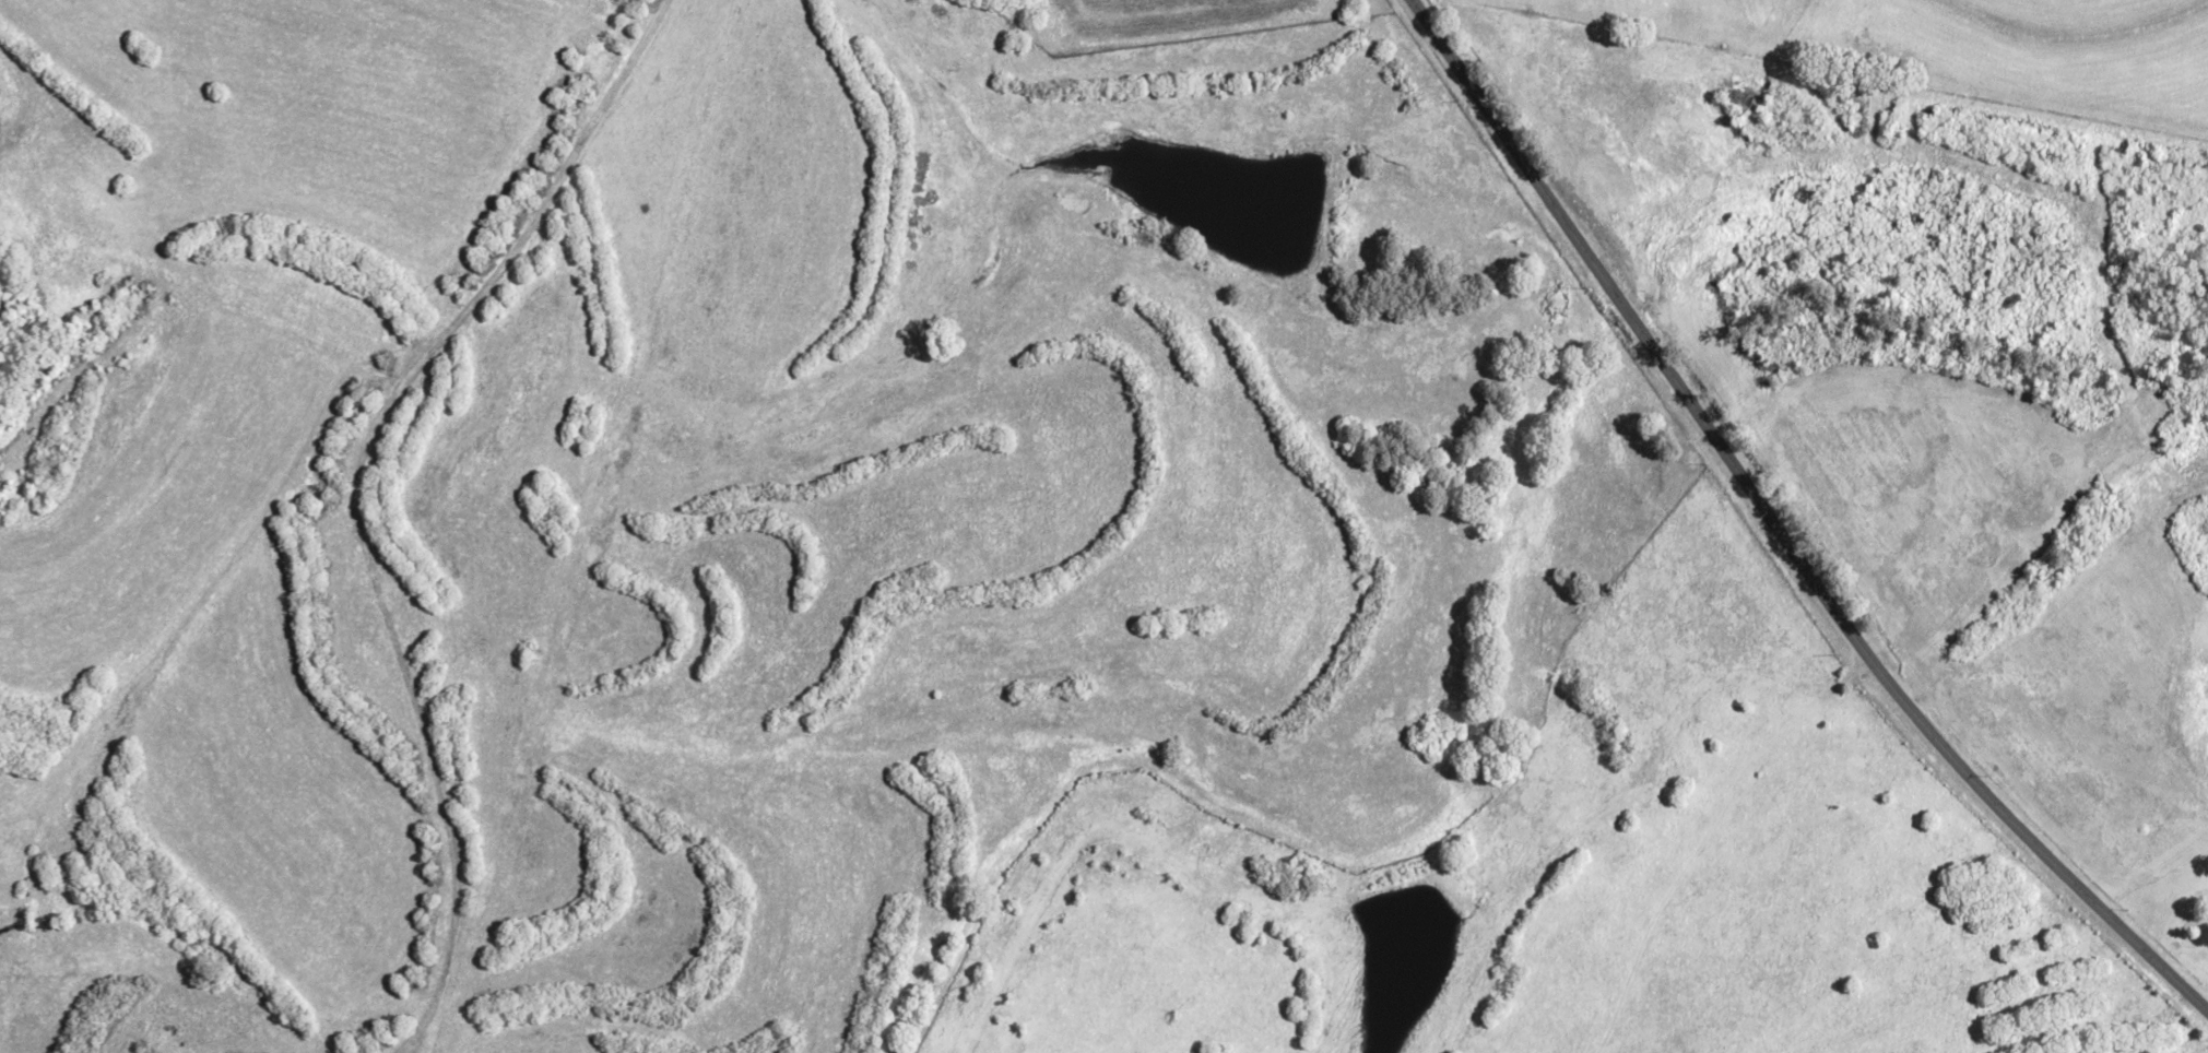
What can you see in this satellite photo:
road: (1775, 534)

